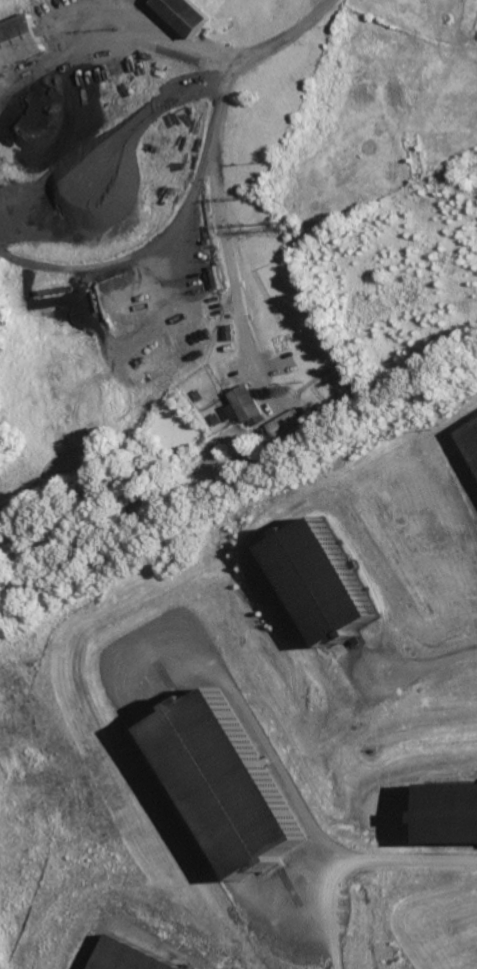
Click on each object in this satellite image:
building: (187, 15)
building: (20, 42)
building: (248, 407)
building: (233, 412)
building: (287, 429)
building: (470, 440)
building: (317, 581)
building: (449, 812)
building: (128, 957)

